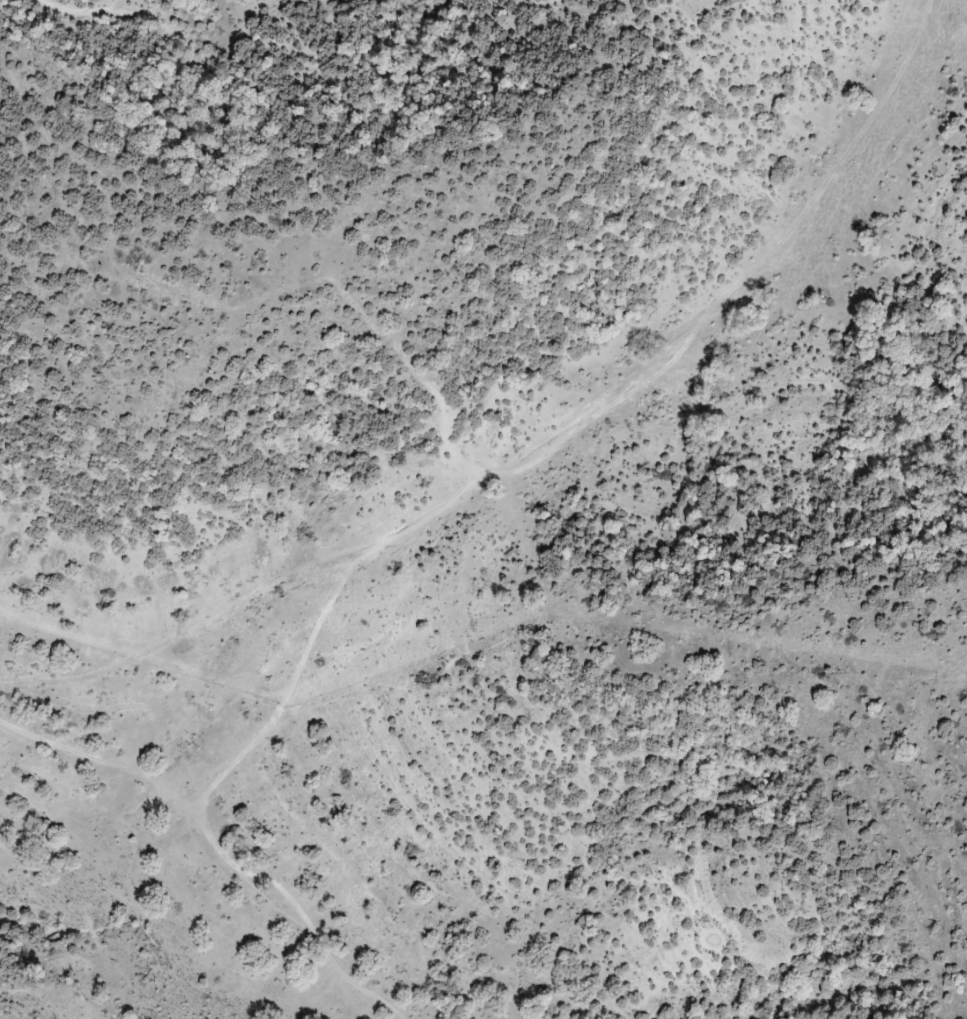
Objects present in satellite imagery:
road: (203, 853)

